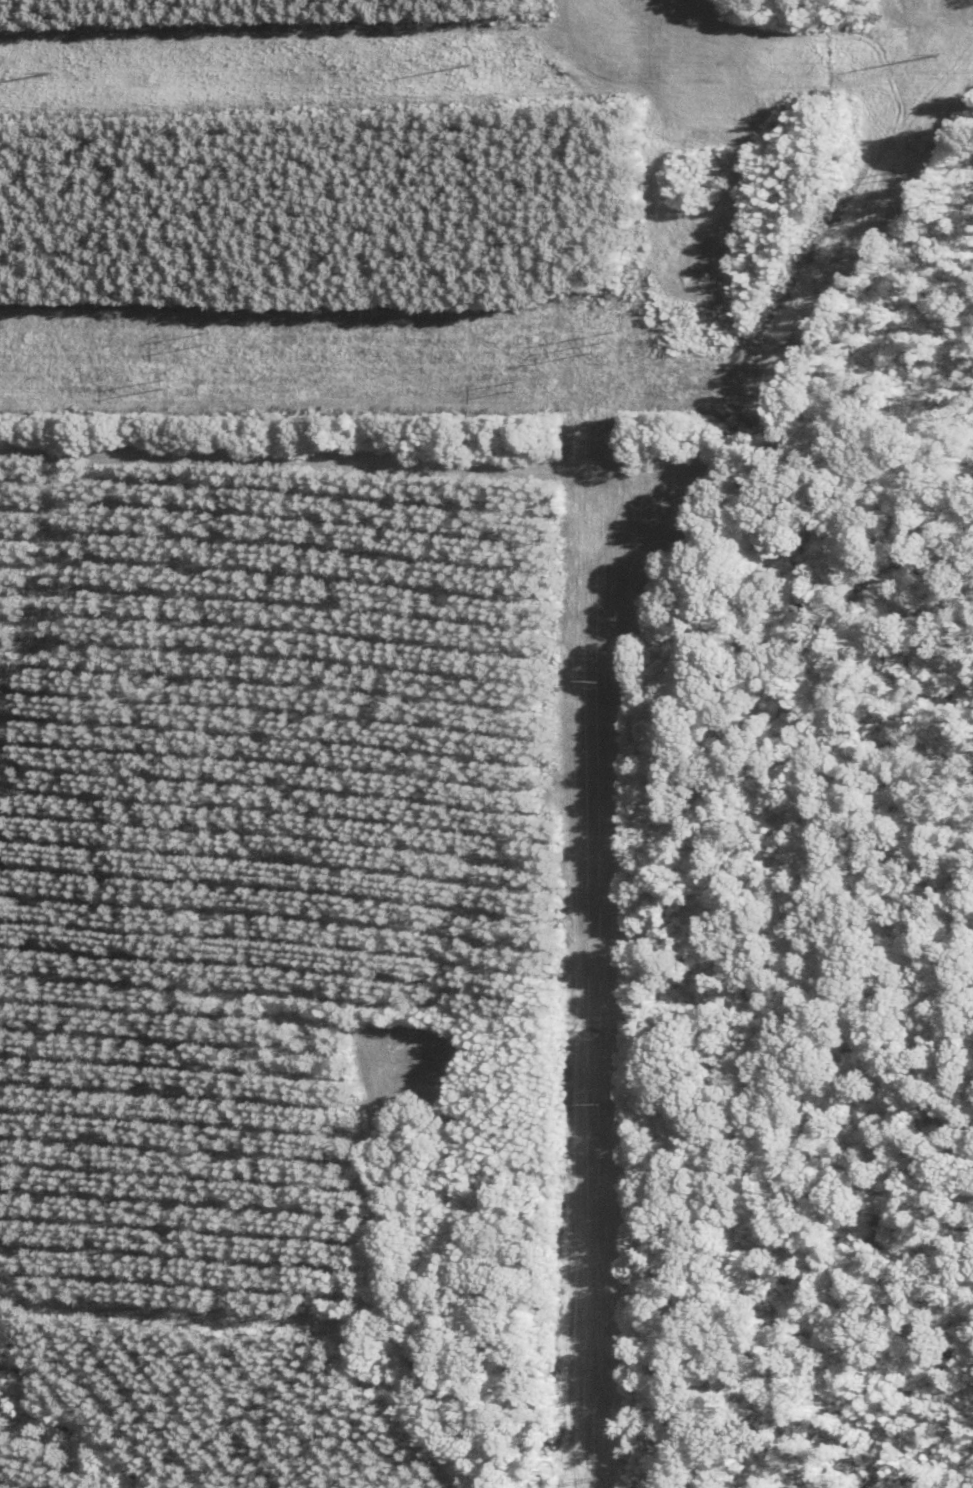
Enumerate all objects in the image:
power tower: (933, 52)
power tower: (476, 62)
power tower: (59, 70)
power tower: (209, 337)
power tower: (604, 342)
power tower: (599, 680)
power tower: (598, 1103)
power tower: (598, 1476)

